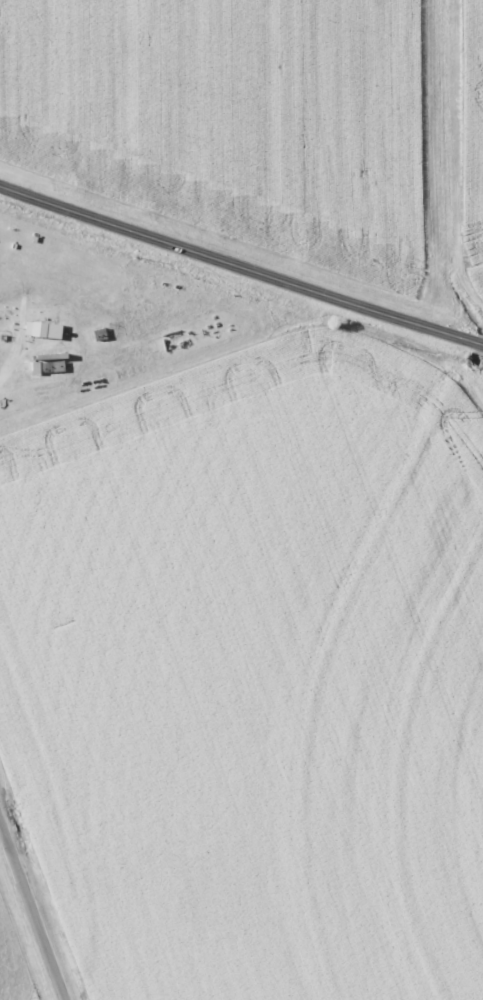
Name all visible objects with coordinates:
road: (240, 267)
building: (42, 329)
road: (7, 369)
road: (32, 911)

